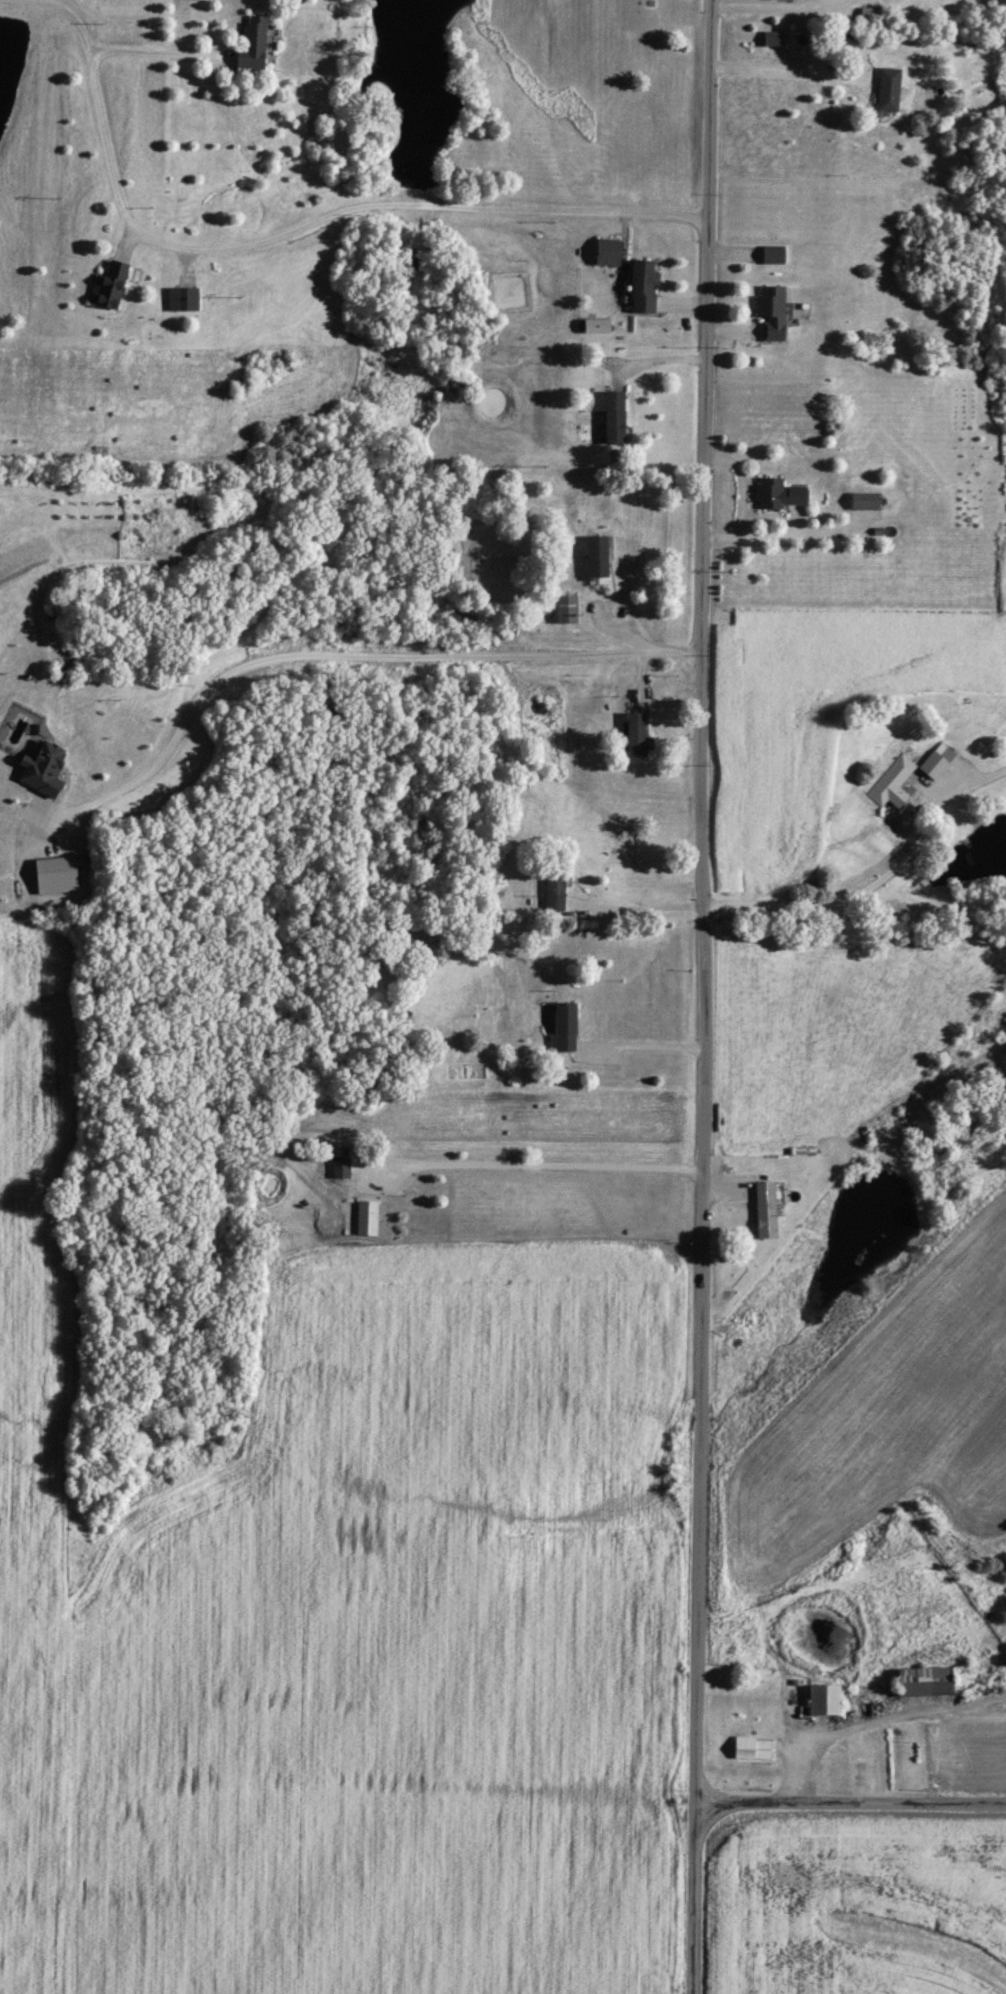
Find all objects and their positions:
road: (722, 1)
building: (769, 37)
building: (254, 40)
road: (161, 45)
road: (794, 59)
building: (885, 88)
road: (281, 231)
building: (605, 250)
building: (770, 253)
building: (107, 284)
building: (640, 285)
building: (180, 298)
building: (593, 324)
building: (611, 416)
building: (776, 492)
building: (862, 499)
building: (594, 555)
building: (563, 608)
building: (635, 734)
building: (38, 767)
building: (891, 781)
building: (51, 874)
building: (552, 886)
road: (799, 901)
road: (707, 997)
building: (562, 1026)
road: (645, 1043)
road: (533, 1164)
building: (339, 1165)
building: (762, 1208)
building: (366, 1216)
building: (760, 1672)
building: (920, 1679)
building: (821, 1698)
road: (852, 1802)

